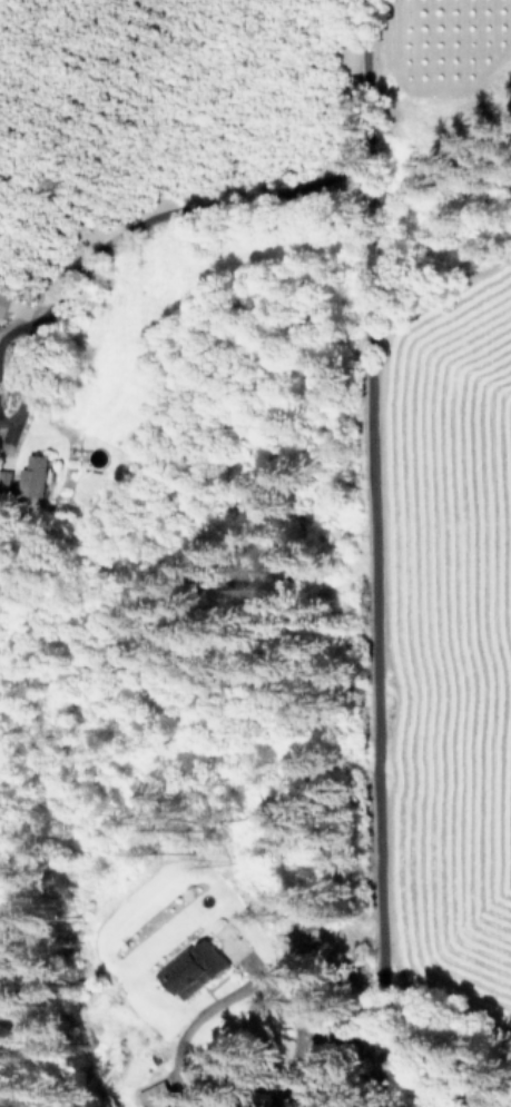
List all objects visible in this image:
road: (184, 194)
building: (6, 300)
crop: (468, 470)
building: (37, 475)
building: (7, 478)
road: (371, 553)
building: (199, 969)
road: (250, 986)
building: (164, 1096)

